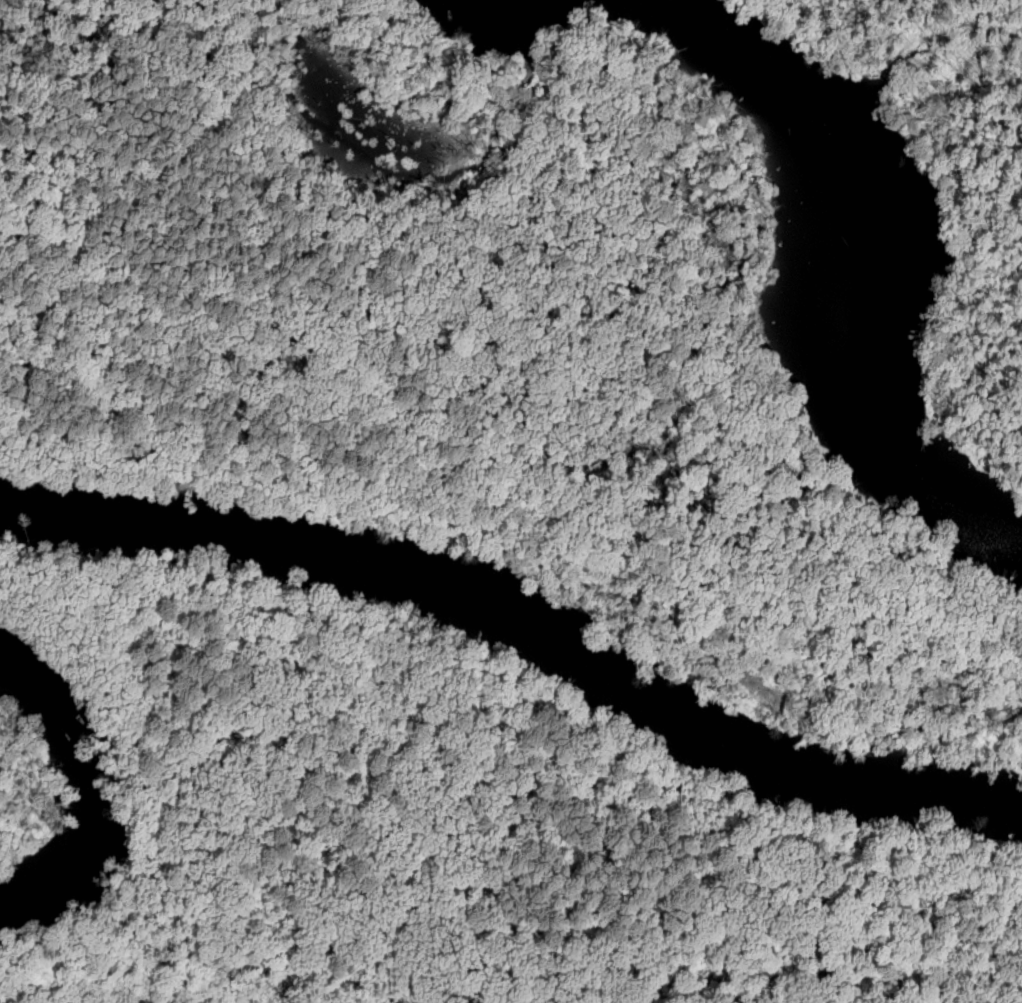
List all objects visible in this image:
river: (512, 29)
river: (920, 248)
river: (521, 621)
river: (87, 787)

